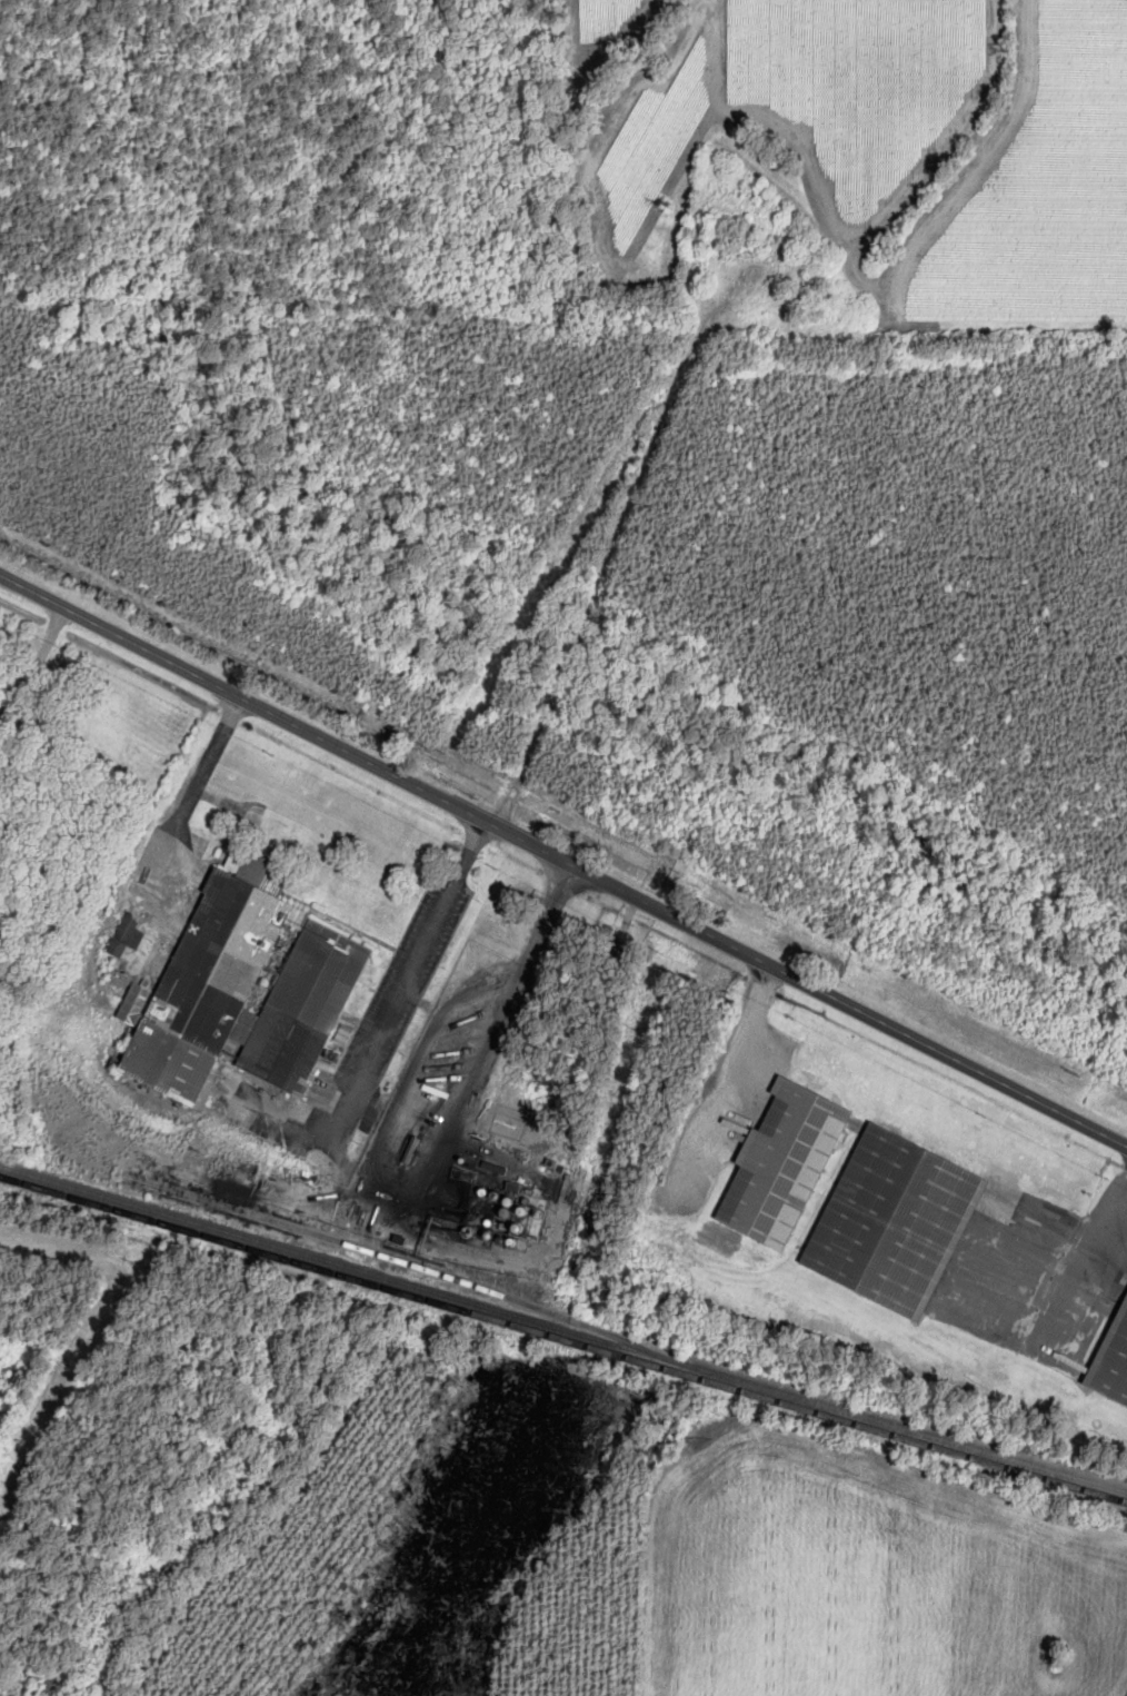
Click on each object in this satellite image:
road: (661, 361)
road: (199, 776)
road: (563, 862)
building: (124, 936)
building: (242, 989)
road: (398, 1001)
building: (781, 1164)
road: (433, 1174)
building: (895, 1221)
railway: (408, 1262)
railway: (563, 1329)
railway: (562, 1343)
building: (1113, 1362)

